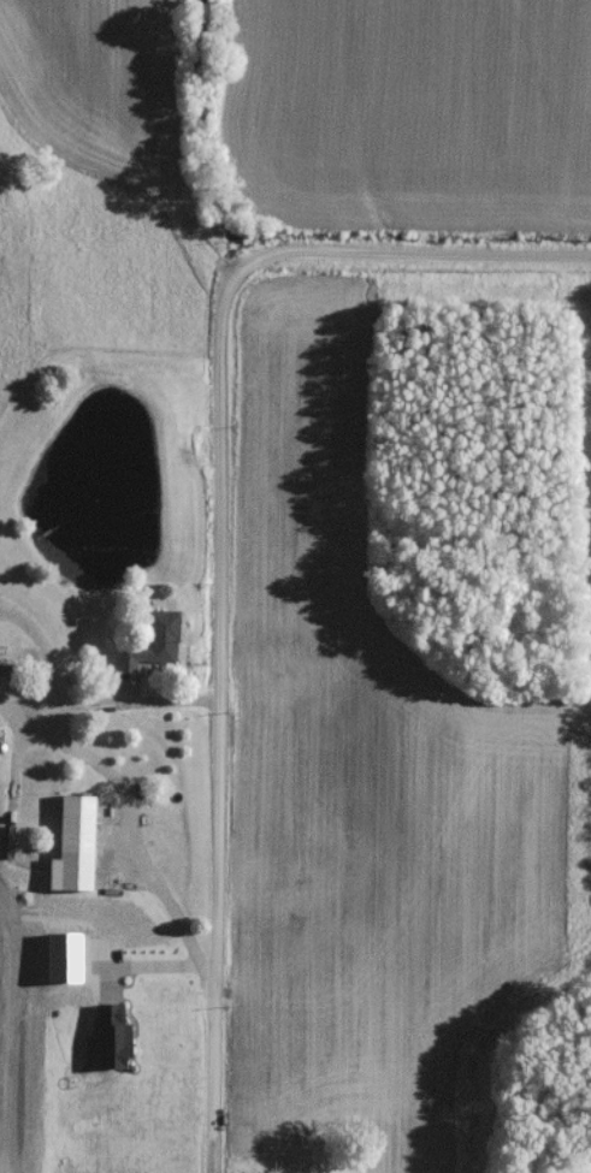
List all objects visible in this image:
road: (402, 245)
building: (124, 665)
road: (52, 667)
road: (141, 698)
road: (218, 723)
road: (31, 730)
building: (75, 849)
road: (143, 863)
road: (152, 962)

